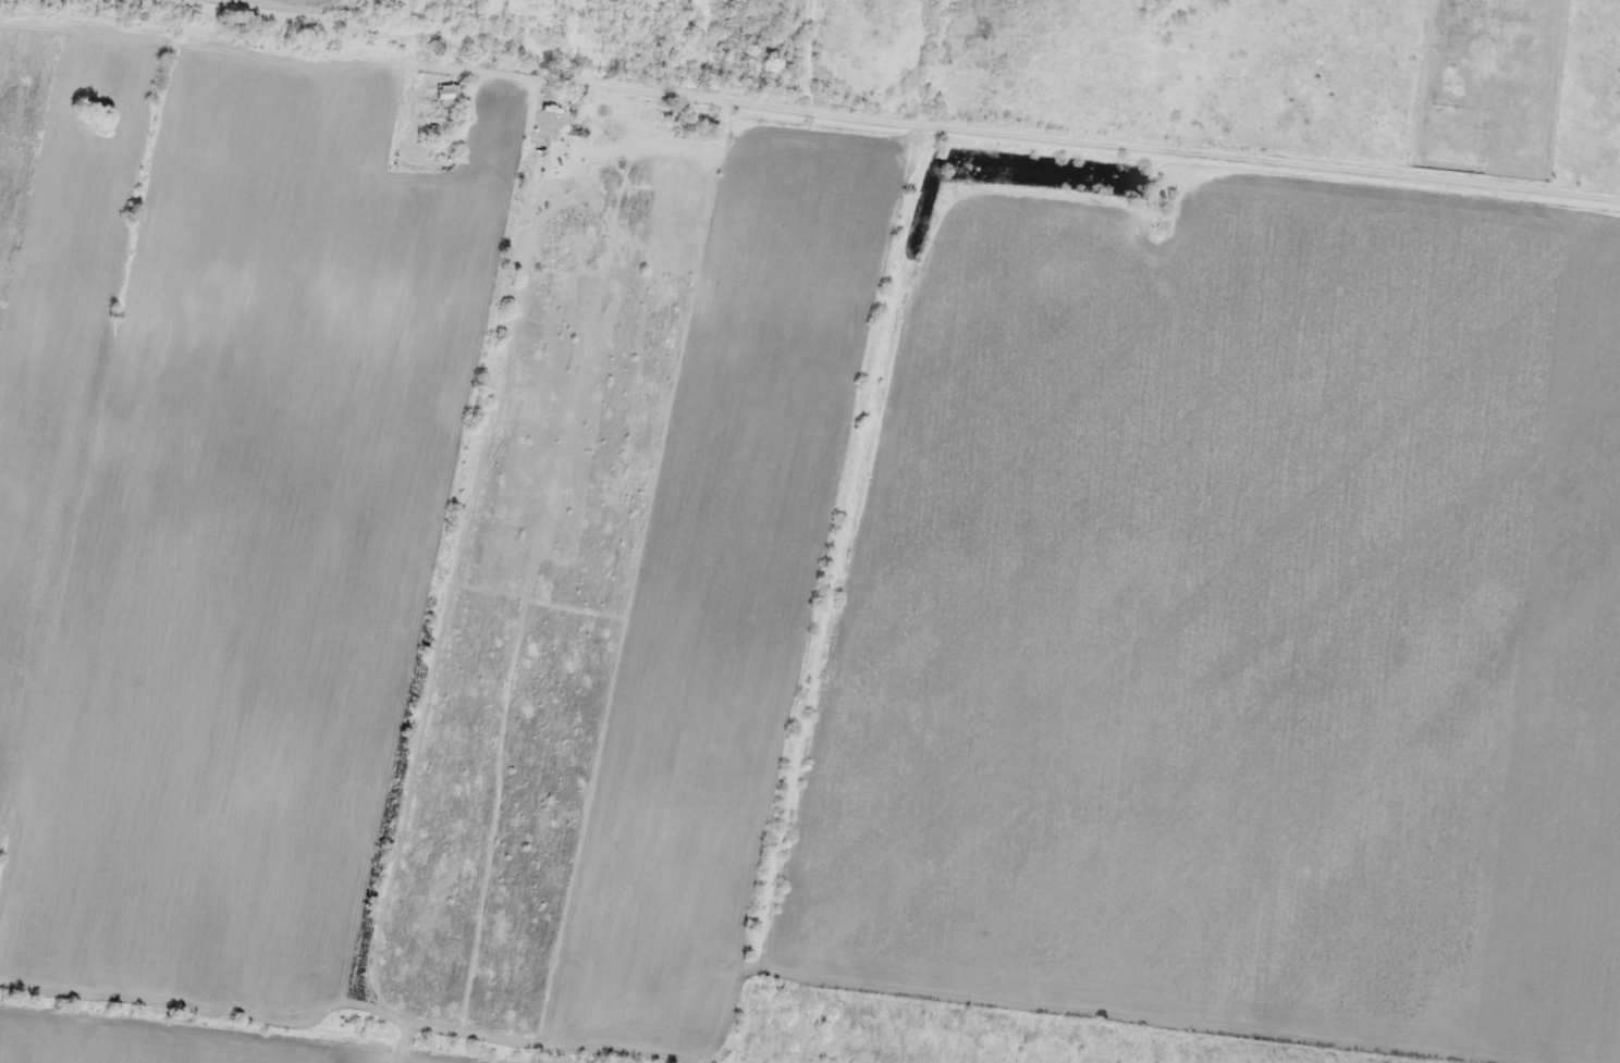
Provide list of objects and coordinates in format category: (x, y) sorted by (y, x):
road: (809, 109)
park: (87, 112)

